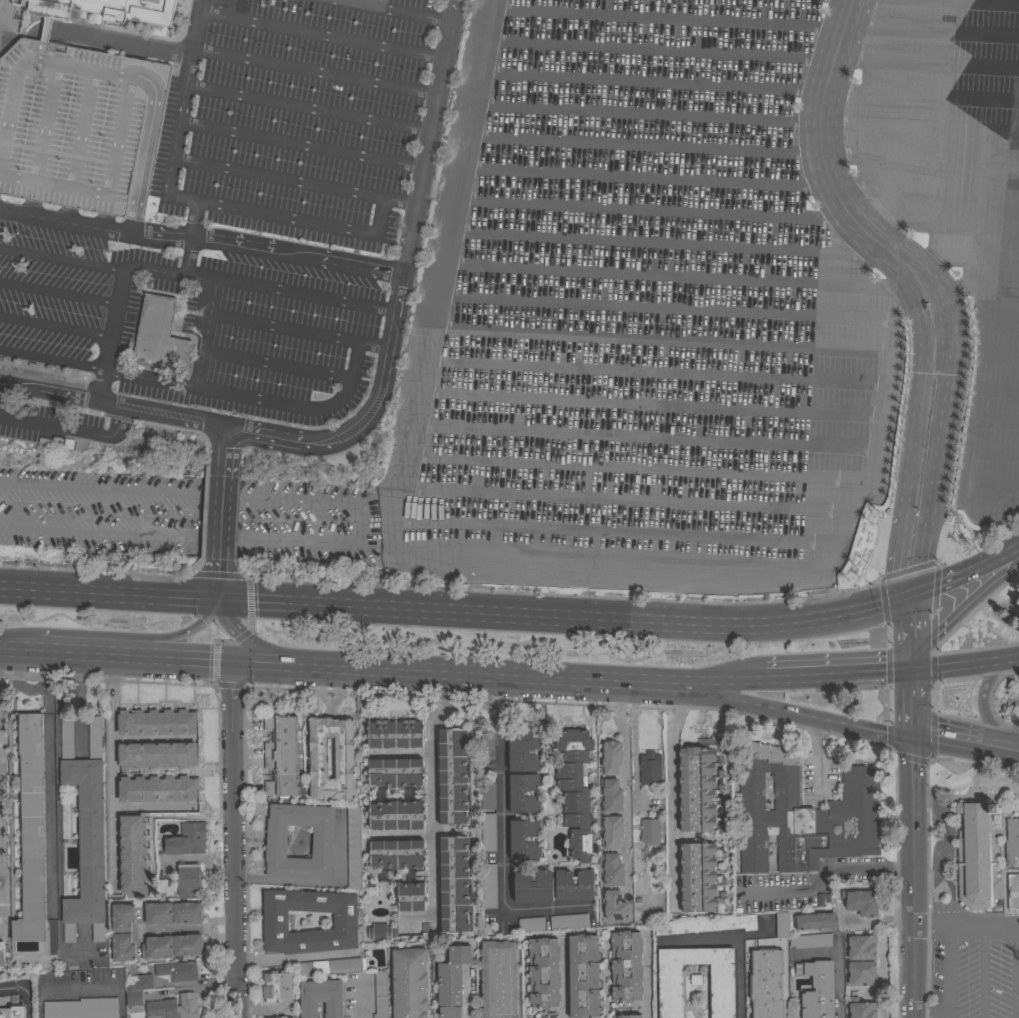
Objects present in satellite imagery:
building: (4, 1)
road: (995, 8)
road: (398, 9)
building: (106, 11)
road: (662, 18)
road: (44, 30)
road: (325, 36)
road: (96, 45)
road: (138, 46)
road: (654, 49)
road: (992, 70)
road: (646, 81)
road: (13, 90)
road: (309, 108)
road: (641, 114)
road: (960, 116)
parking lot: (307, 119)
building: (79, 126)
parking garage: (79, 126)
road: (178, 129)
road: (303, 145)
road: (638, 146)
road: (640, 177)
road: (296, 181)
road: (28, 206)
road: (646, 211)
road: (65, 213)
road: (102, 219)
road: (195, 220)
road: (203, 239)
road: (656, 242)
road: (433, 274)
road: (662, 275)
road: (120, 276)
road: (916, 279)
road: (404, 284)
road: (238, 289)
road: (58, 295)
parking lot: (59, 296)
parking lot: (722, 300)
road: (660, 306)
parking lot: (249, 330)
road: (282, 330)
road: (55, 331)
road: (656, 335)
building: (158, 339)
road: (52, 360)
road: (278, 365)
road: (50, 392)
road: (238, 394)
road: (164, 415)
parking lot: (45, 422)
road: (70, 429)
road: (228, 441)
road: (196, 496)
road: (225, 507)
road: (130, 511)
road: (192, 539)
road: (1002, 561)
road: (767, 564)
road: (220, 581)
road: (949, 585)
road: (109, 595)
road: (566, 616)
road: (943, 617)
road: (910, 633)
road: (146, 641)
road: (259, 646)
road: (30, 650)
traffic signals: (230, 659)
road: (963, 663)
road: (413, 669)
traffic signals: (909, 671)
road: (838, 674)
parking lot: (1013, 695)
road: (981, 702)
road: (909, 703)
road: (799, 715)
parking lot: (1018, 716)
building: (156, 723)
building: (395, 734)
road: (932, 735)
road: (987, 744)
building: (487, 746)
building: (524, 751)
building: (156, 755)
building: (281, 756)
road: (817, 757)
building: (317, 758)
building: (610, 758)
road: (113, 769)
building: (650, 769)
building: (395, 773)
building: (451, 777)
road: (625, 781)
building: (157, 789)
building: (695, 789)
road: (430, 790)
road: (671, 793)
building: (488, 797)
road: (152, 808)
building: (576, 814)
building: (604, 814)
building: (396, 815)
building: (802, 815)
road: (57, 816)
building: (517, 818)
building: (85, 830)
building: (31, 832)
building: (488, 832)
building: (649, 832)
road: (500, 833)
road: (946, 835)
road: (231, 838)
road: (1, 840)
building: (187, 840)
building: (1011, 841)
building: (322, 842)
building: (353, 848)
building: (132, 853)
building: (396, 854)
building: (976, 857)
building: (611, 869)
road: (825, 873)
road: (914, 876)
building: (697, 878)
building: (188, 880)
road: (320, 883)
building: (454, 885)
building: (489, 886)
building: (165, 887)
building: (533, 887)
building: (1013, 892)
building: (410, 897)
building: (861, 902)
building: (614, 906)
building: (186, 913)
building: (158, 914)
building: (275, 921)
building: (569, 922)
building: (816, 922)
building: (781, 924)
building: (706, 925)
building: (531, 926)
road: (979, 926)
building: (381, 932)
building: (116, 933)
road: (737, 939)
building: (810, 941)
building: (187, 945)
building: (157, 947)
building: (861, 948)
building: (2, 955)
road: (943, 957)
road: (291, 958)
road: (838, 964)
building: (331, 967)
parking lot: (974, 967)
building: (626, 968)
building: (176, 971)
road: (981, 972)
road: (1015, 972)
building: (543, 973)
building: (861, 974)
building: (583, 977)
road: (645, 977)
building: (498, 980)
building: (451, 981)
road: (563, 981)
building: (140, 983)
building: (408, 983)
building: (766, 984)
road: (79, 987)
building: (277, 987)
building: (817, 989)
road: (881, 989)
road: (24, 991)
building: (670, 991)
building: (380, 994)
road: (468, 995)
building: (134, 998)
building: (320, 998)
road: (350, 1003)
building: (173, 1007)
building: (81, 1008)
building: (11, 1009)
building: (862, 1009)
road: (928, 1014)
building: (627, 1016)
building: (283, 1017)

